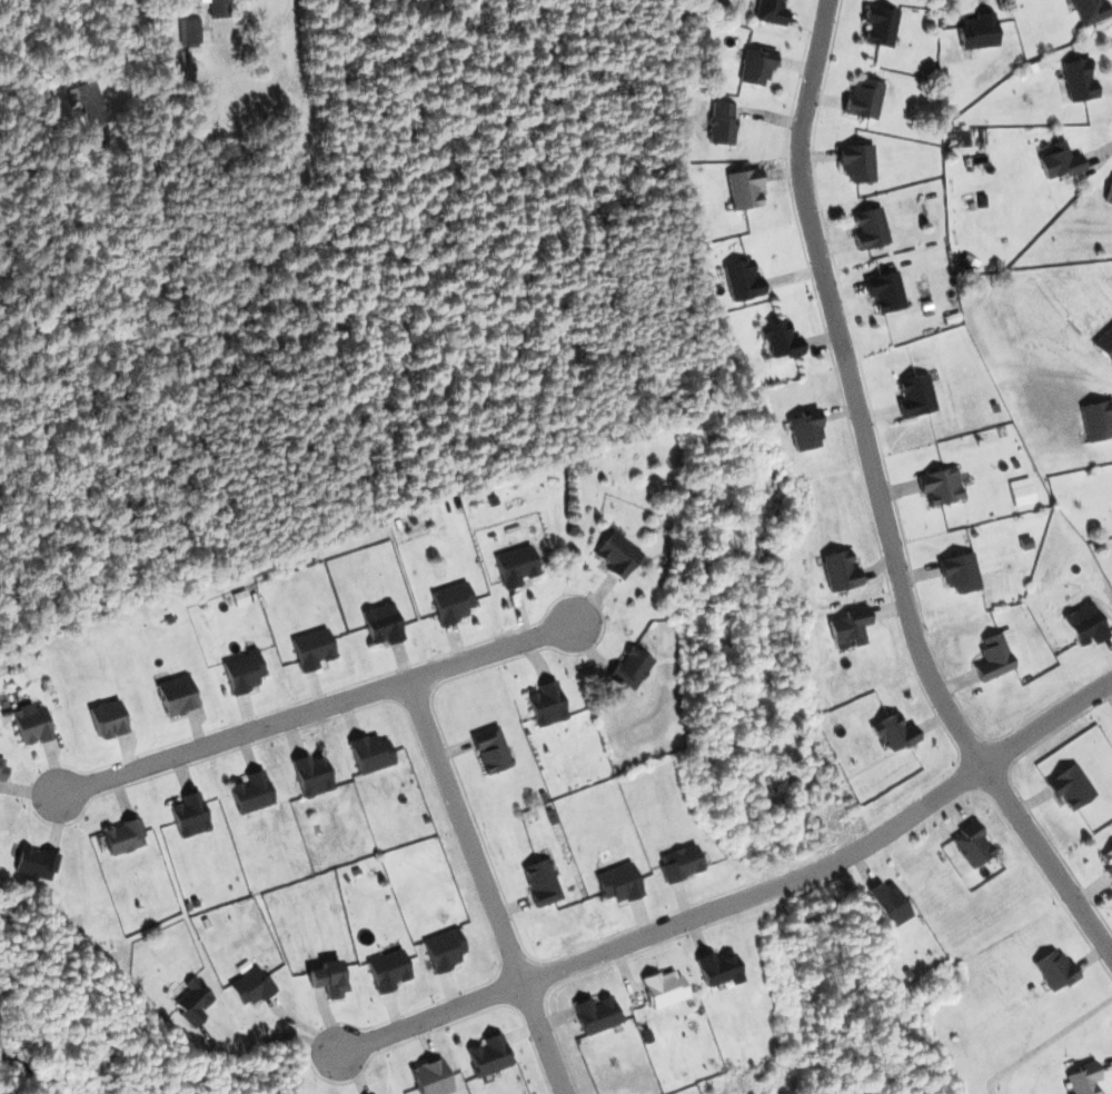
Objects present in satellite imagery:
building: (217, 8)
building: (1090, 10)
building: (770, 11)
building: (880, 26)
building: (189, 31)
building: (977, 31)
building: (756, 66)
building: (1079, 80)
building: (863, 99)
building: (87, 102)
building: (722, 123)
building: (1059, 160)
building: (856, 162)
building: (744, 188)
building: (1109, 193)
building: (870, 228)
building: (742, 280)
building: (885, 291)
building: (780, 339)
building: (1104, 344)
building: (915, 395)
building: (1098, 419)
building: (805, 430)
building: (940, 485)
building: (1021, 491)
road: (875, 501)
building: (618, 555)
building: (515, 566)
building: (838, 570)
building: (959, 571)
building: (239, 597)
building: (451, 603)
building: (383, 623)
building: (1085, 624)
building: (848, 625)
building: (312, 649)
building: (994, 655)
building: (632, 668)
building: (242, 672)
building: (176, 695)
building: (546, 704)
road: (322, 708)
building: (108, 719)
building: (30, 724)
building: (893, 732)
building: (490, 749)
building: (370, 753)
building: (2, 769)
building: (311, 775)
building: (1070, 786)
building: (251, 793)
building: (189, 815)
building: (123, 836)
building: (971, 844)
building: (36, 863)
building: (681, 863)
building: (1108, 863)
building: (540, 882)
building: (618, 883)
road: (493, 886)
road: (751, 902)
building: (888, 904)
building: (444, 949)
building: (718, 968)
building: (388, 969)
building: (1053, 969)
building: (329, 977)
building: (251, 986)
building: (664, 988)
building: (192, 1002)
building: (597, 1014)
road: (1045, 1043)
building: (489, 1055)
building: (430, 1077)
building: (1083, 1078)

